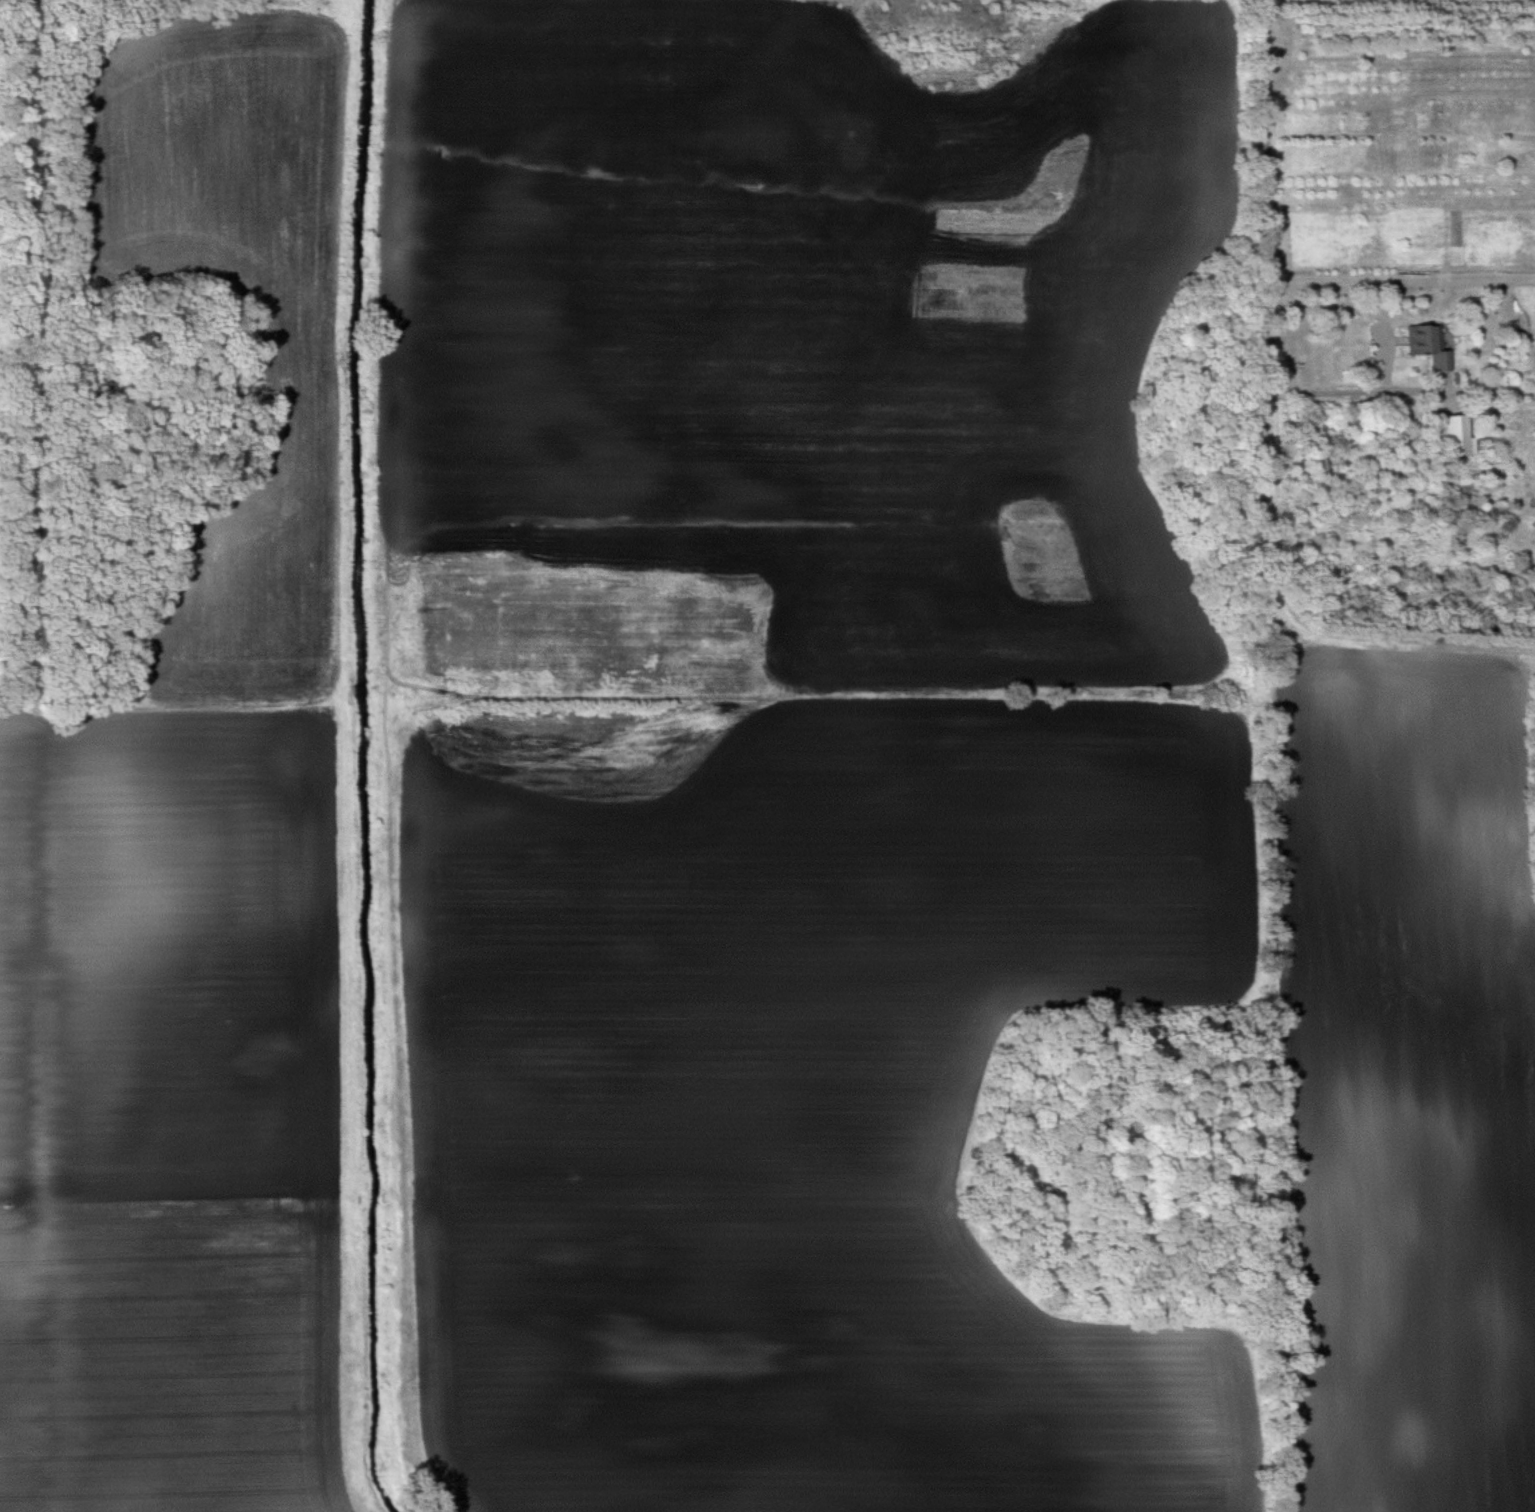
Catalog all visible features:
road: (1269, 146)
building: (1426, 346)
road: (1385, 392)
building: (1457, 437)

